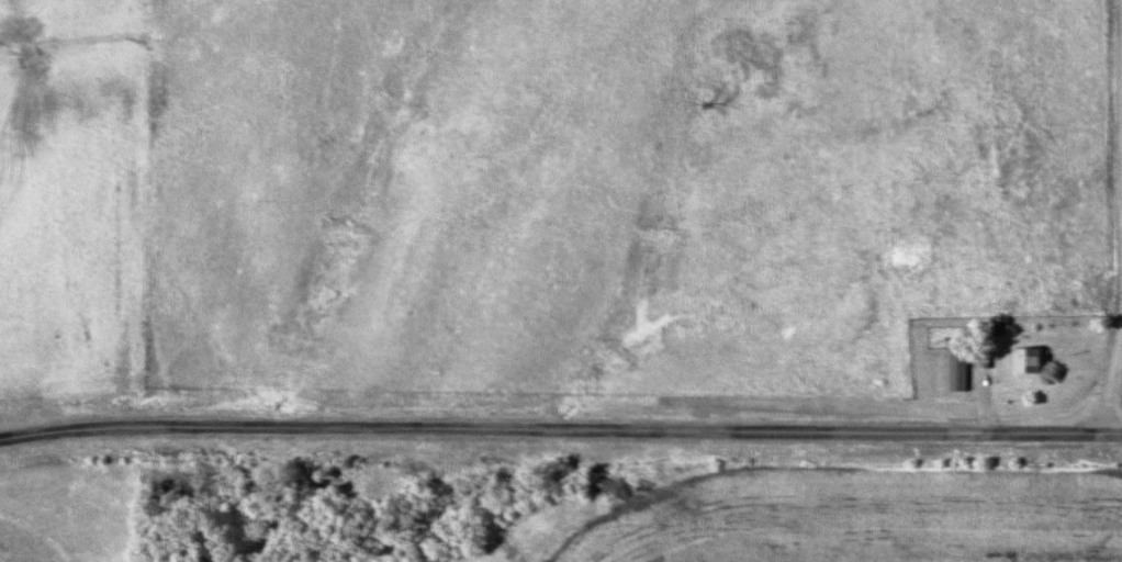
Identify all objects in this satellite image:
road: (1120, 75)
road: (1113, 331)
building: (1029, 363)
road: (983, 393)
road: (560, 429)

